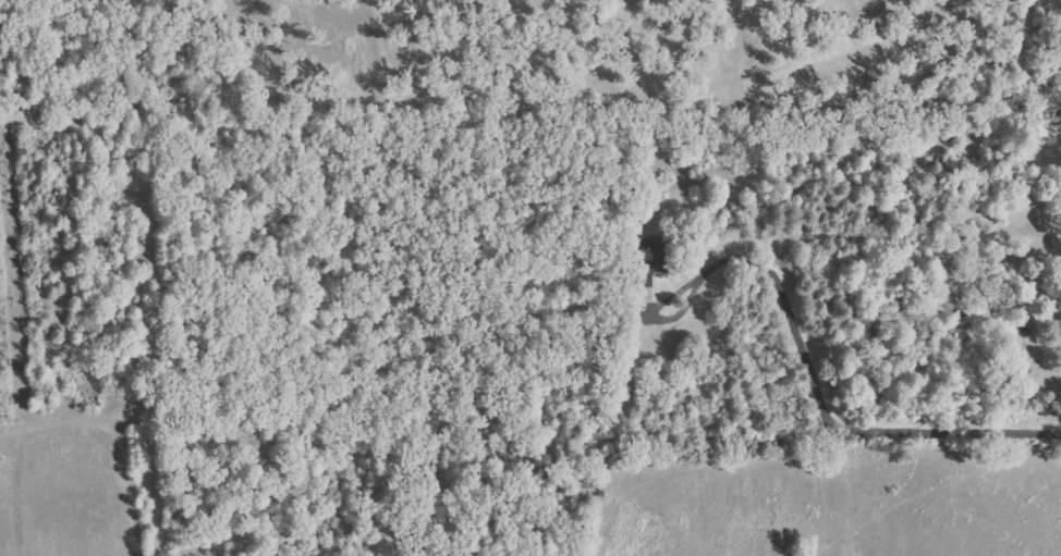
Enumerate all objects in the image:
building: (655, 260)
road: (826, 412)

